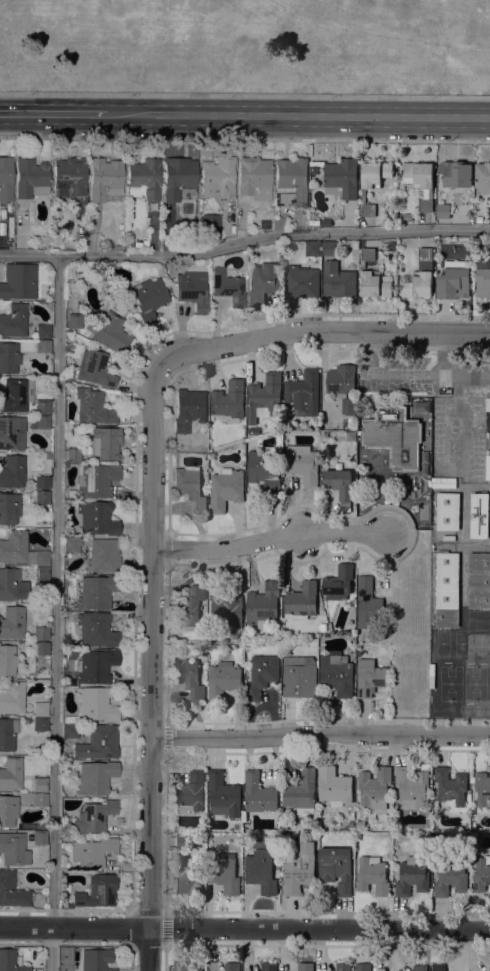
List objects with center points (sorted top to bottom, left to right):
road: (245, 94)
road: (53, 116)
road: (298, 117)
road: (245, 139)
building: (456, 174)
building: (219, 176)
building: (30, 177)
building: (69, 177)
building: (178, 177)
building: (145, 178)
building: (253, 178)
building: (341, 178)
building: (482, 178)
building: (5, 179)
building: (104, 179)
building: (372, 181)
building: (291, 182)
building: (420, 182)
building: (442, 211)
building: (276, 224)
building: (210, 225)
road: (244, 242)
building: (313, 248)
building: (329, 248)
building: (366, 252)
building: (483, 264)
building: (419, 277)
building: (338, 280)
building: (453, 281)
building: (18, 282)
building: (263, 282)
building: (301, 282)
building: (483, 282)
building: (375, 284)
building: (228, 288)
building: (192, 291)
building: (148, 299)
building: (13, 321)
building: (73, 321)
road: (323, 330)
building: (43, 331)
building: (110, 333)
building: (42, 346)
road: (428, 346)
road: (450, 355)
building: (8, 358)
building: (94, 369)
road: (404, 377)
building: (343, 386)
building: (303, 393)
building: (15, 395)
building: (264, 397)
parking lot: (442, 399)
building: (229, 400)
building: (488, 404)
building: (42, 407)
building: (93, 408)
building: (189, 409)
building: (39, 422)
road: (457, 423)
building: (253, 431)
building: (11, 433)
building: (394, 435)
building: (105, 442)
building: (73, 455)
building: (302, 464)
building: (264, 471)
building: (12, 472)
building: (96, 481)
building: (42, 483)
building: (340, 486)
building: (190, 487)
building: (226, 489)
building: (41, 498)
building: (9, 508)
building: (448, 511)
building: (479, 515)
building: (97, 518)
road: (271, 538)
building: (72, 544)
building: (20, 550)
building: (103, 556)
building: (41, 573)
building: (479, 581)
building: (338, 583)
building: (12, 586)
building: (447, 590)
building: (96, 592)
building: (301, 601)
building: (368, 604)
building: (263, 605)
building: (189, 607)
building: (225, 607)
road: (55, 613)
building: (479, 621)
building: (12, 623)
building: (322, 627)
building: (96, 630)
building: (41, 634)
building: (448, 644)
building: (40, 649)
building: (7, 661)
road: (150, 666)
building: (95, 667)
building: (337, 674)
building: (262, 675)
building: (188, 677)
building: (299, 677)
building: (369, 677)
building: (223, 679)
building: (12, 698)
building: (96, 704)
building: (40, 710)
road: (420, 721)
building: (40, 724)
building: (69, 730)
building: (7, 734)
road: (319, 735)
building: (98, 743)
building: (11, 774)
building: (95, 778)
building: (40, 785)
building: (451, 786)
building: (334, 787)
building: (411, 787)
building: (374, 788)
building: (482, 789)
building: (301, 792)
building: (189, 793)
building: (259, 795)
building: (223, 796)
building: (39, 800)
building: (8, 811)
building: (93, 817)
building: (39, 838)
building: (180, 841)
building: (13, 850)
building: (92, 853)
building: (299, 868)
building: (336, 868)
building: (223, 872)
building: (261, 872)
building: (481, 874)
building: (451, 875)
building: (372, 876)
building: (412, 876)
building: (186, 879)
building: (12, 892)
building: (97, 892)
road: (245, 929)
building: (95, 960)
building: (10, 961)
building: (185, 966)
building: (231, 966)
building: (268, 966)
building: (304, 967)
building: (343, 967)
building: (362, 967)
building: (419, 967)
building: (438, 967)
building: (489, 968)

